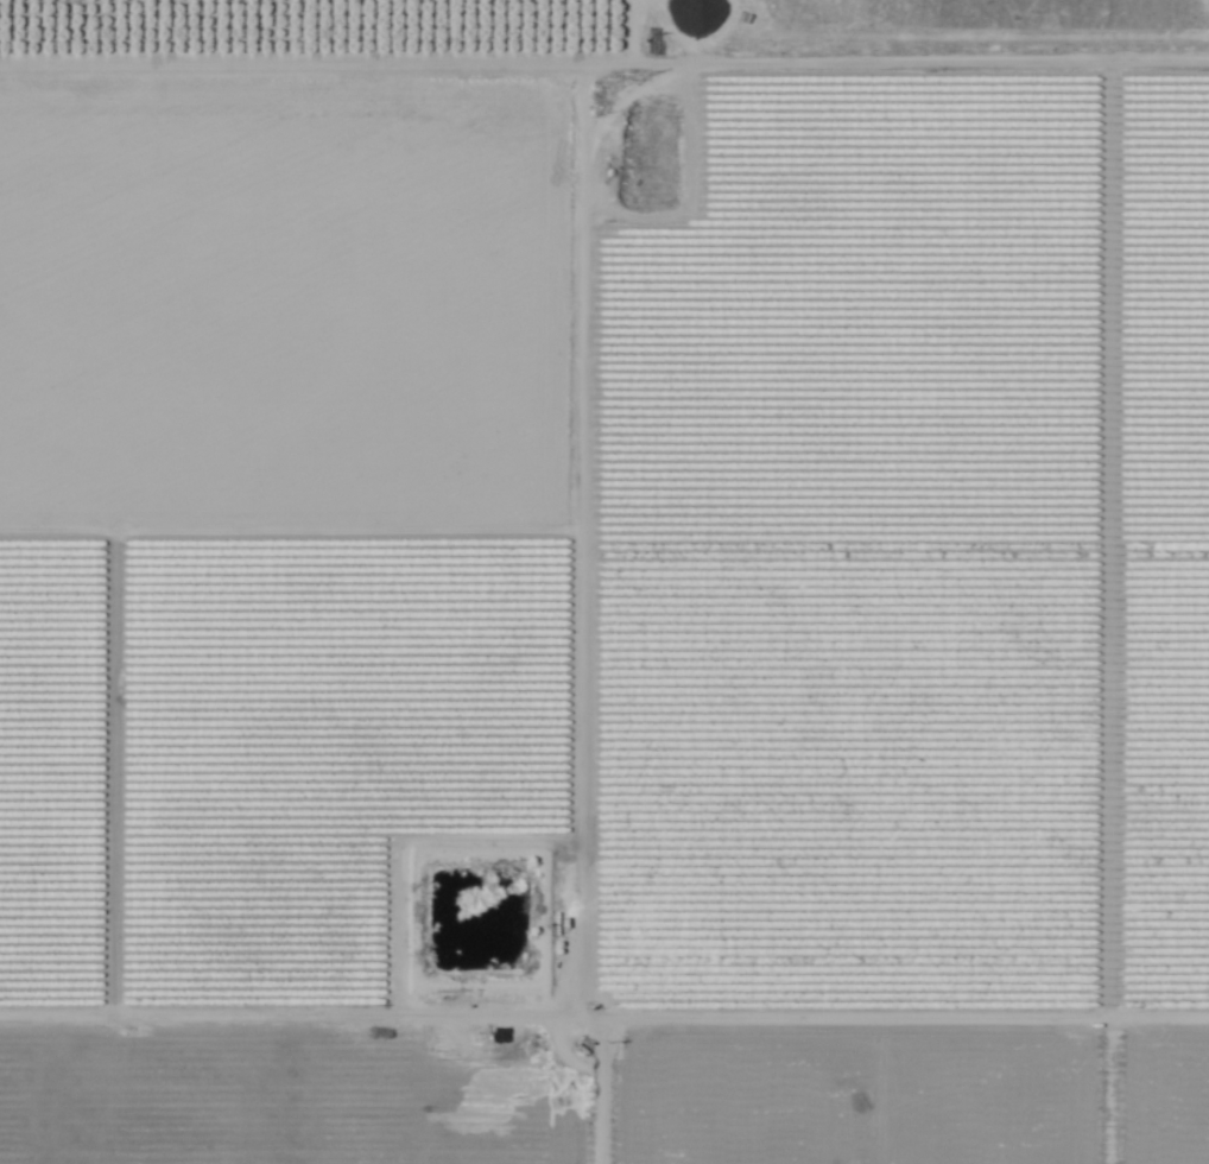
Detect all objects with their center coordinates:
road: (618, 33)
road: (603, 67)
road: (1106, 544)
road: (580, 615)
road: (109, 783)
road: (603, 1021)

